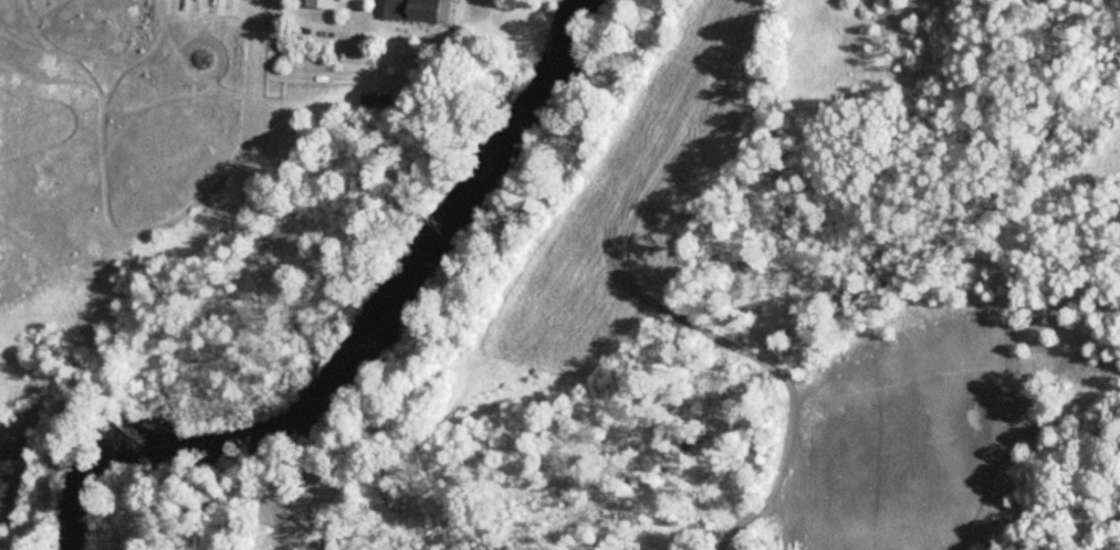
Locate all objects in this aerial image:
building: (414, 11)
river: (371, 342)

